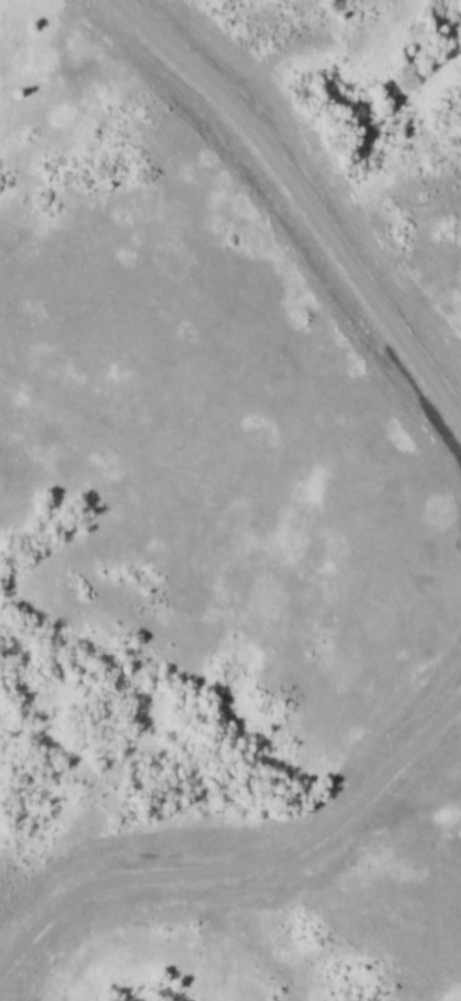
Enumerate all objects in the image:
road: (304, 204)
road: (247, 866)

